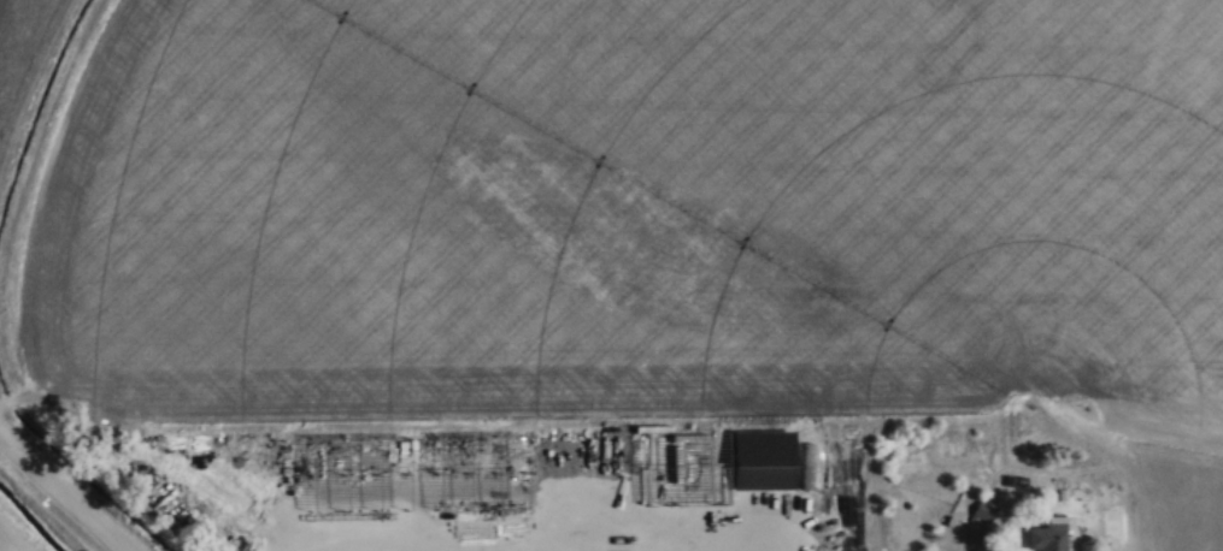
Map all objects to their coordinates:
road: (64, 488)
building: (984, 510)
road: (1012, 526)
building: (1047, 537)

